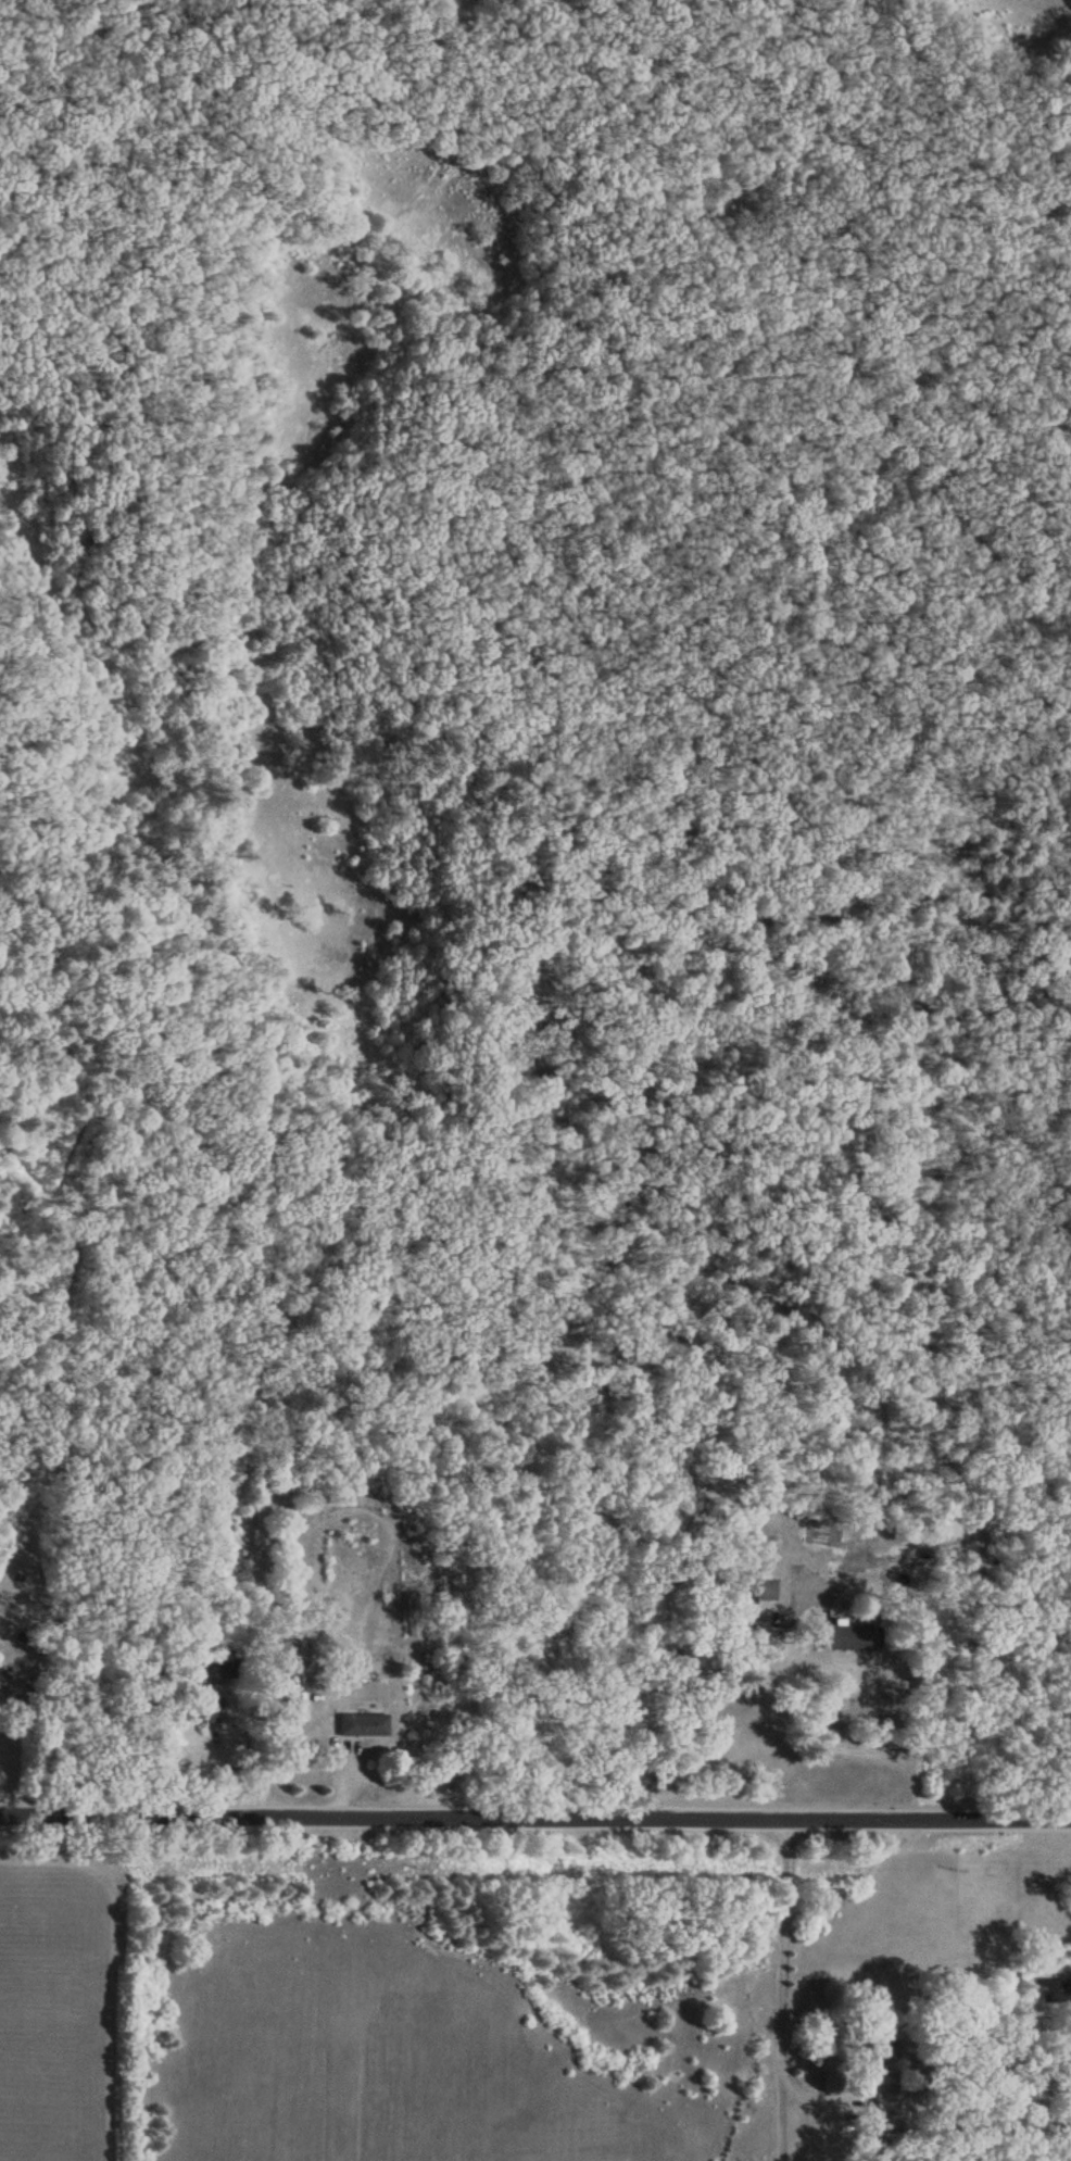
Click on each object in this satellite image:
building: (763, 1588)
building: (847, 1636)
building: (223, 1664)
building: (1, 1675)
road: (714, 1697)
building: (294, 1706)
building: (201, 1717)
building: (361, 1724)
road: (534, 1817)
building: (1056, 1987)
road: (780, 1989)
building: (883, 2048)
building: (885, 2093)

